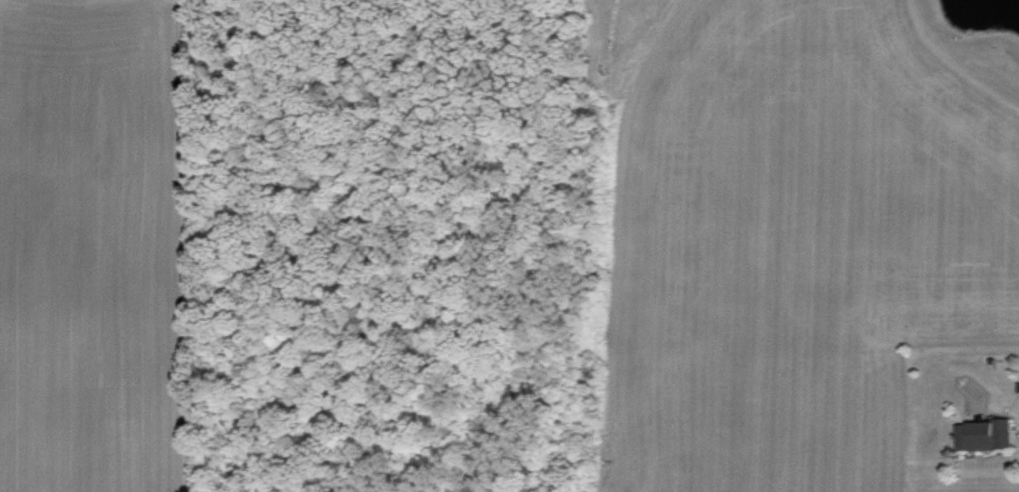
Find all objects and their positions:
building: (984, 432)

